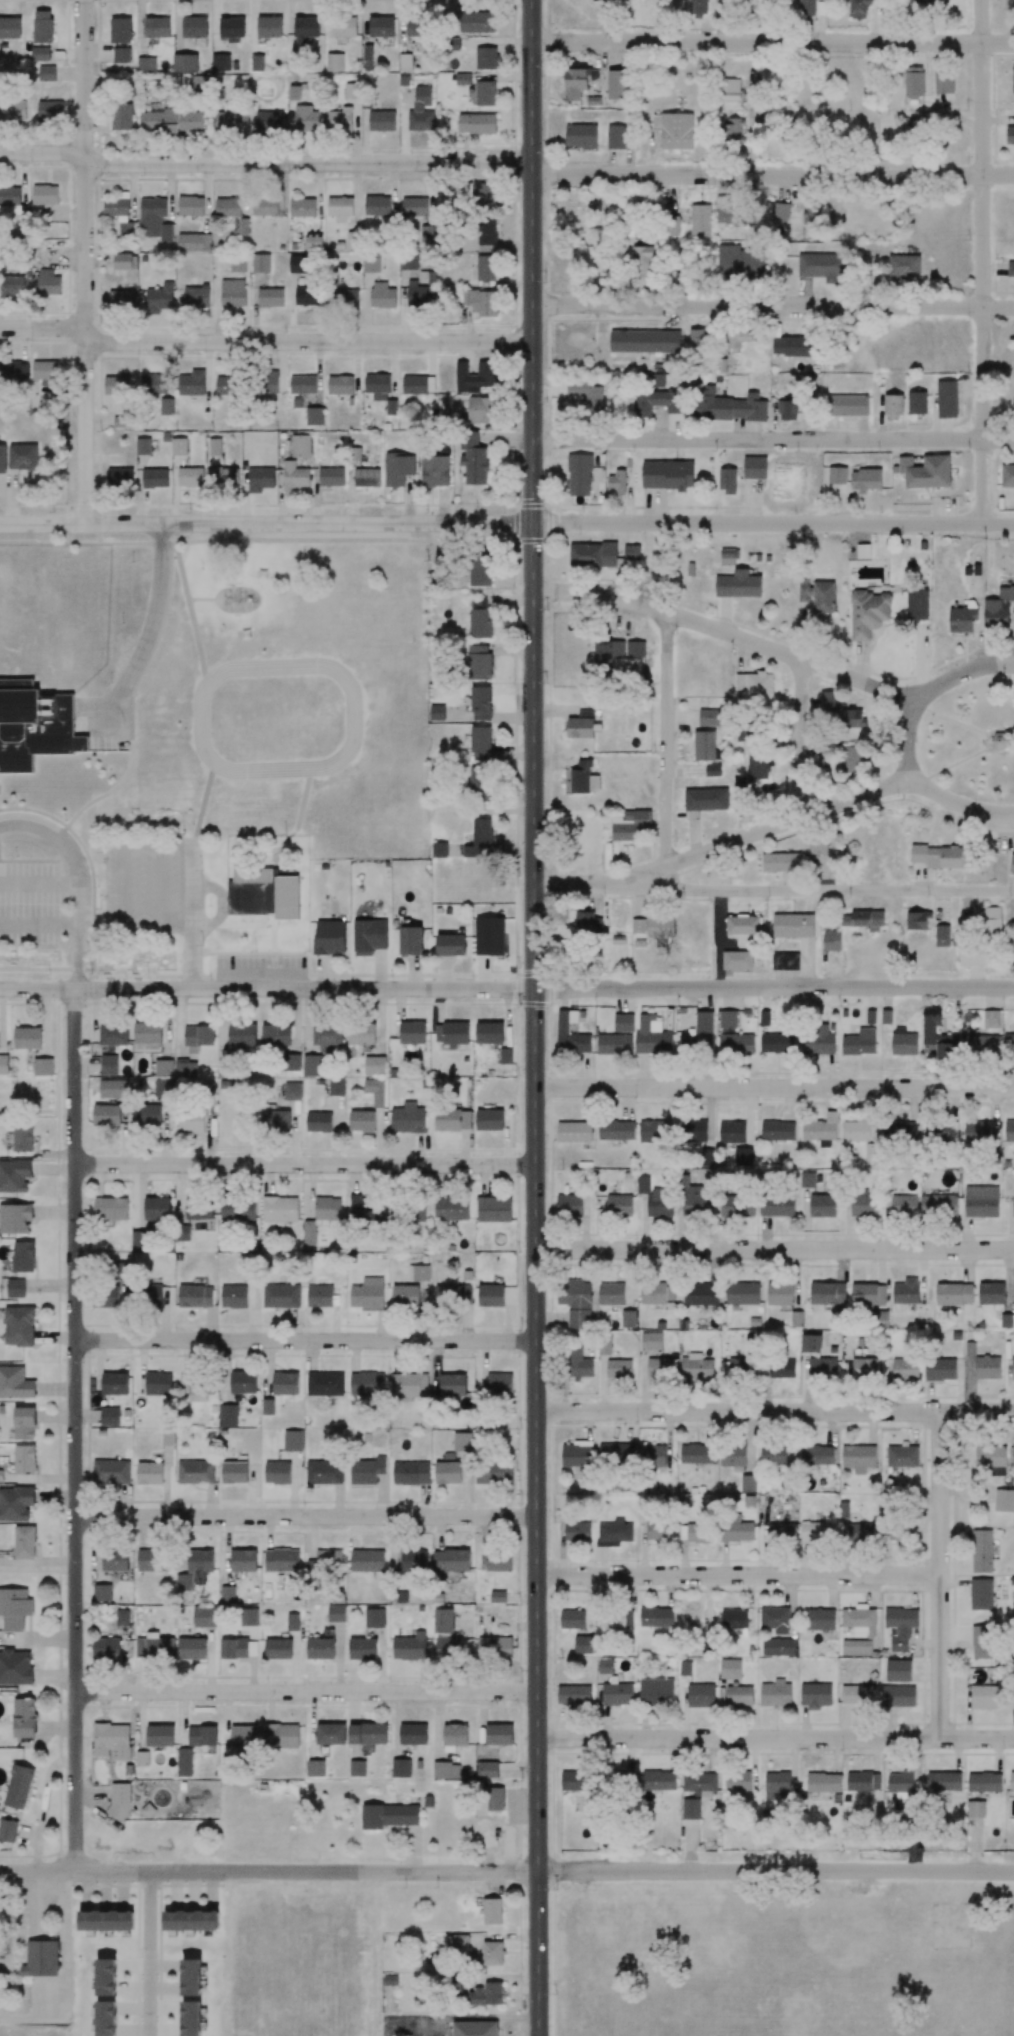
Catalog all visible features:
road: (772, 42)
building: (1013, 90)
building: (1010, 135)
building: (616, 139)
road: (508, 162)
building: (700, 220)
building: (670, 226)
road: (85, 261)
road: (983, 262)
building: (904, 266)
building: (1011, 269)
road: (773, 306)
road: (43, 328)
road: (309, 341)
building: (644, 341)
building: (947, 399)
building: (917, 403)
building: (847, 405)
building: (893, 407)
building: (121, 421)
road: (773, 439)
building: (142, 445)
building: (179, 445)
building: (215, 445)
building: (754, 468)
building: (926, 471)
building: (837, 475)
building: (1007, 475)
building: (226, 476)
building: (261, 477)
building: (866, 480)
road: (266, 523)
road: (772, 524)
building: (863, 551)
building: (804, 590)
building: (823, 597)
building: (917, 605)
building: (999, 608)
building: (869, 612)
building: (962, 619)
road: (150, 628)
road: (728, 633)
building: (754, 683)
road: (928, 692)
building: (829, 700)
building: (710, 717)
building: (853, 718)
road: (667, 739)
road: (801, 739)
park: (973, 740)
building: (704, 745)
building: (851, 758)
building: (760, 768)
building: (713, 770)
building: (706, 799)
road: (821, 810)
building: (818, 846)
building: (937, 856)
building: (781, 862)
building: (1012, 864)
road: (75, 878)
road: (38, 881)
road: (630, 887)
road: (870, 891)
road: (193, 918)
building: (864, 920)
building: (917, 920)
building: (992, 921)
road: (39, 923)
building: (793, 925)
building: (638, 926)
building: (660, 927)
building: (743, 928)
building: (942, 935)
building: (831, 941)
building: (975, 954)
building: (737, 959)
building: (789, 960)
road: (774, 988)
road: (267, 989)
building: (932, 1012)
road: (533, 1017)
building: (990, 1019)
building: (623, 1022)
building: (562, 1028)
building: (699, 1034)
building: (733, 1035)
building: (652, 1036)
building: (818, 1041)
building: (777, 1043)
building: (860, 1043)
building: (614, 1044)
building: (981, 1044)
building: (904, 1045)
building: (941, 1045)
building: (1009, 1045)
road: (773, 1087)
building: (860, 1129)
building: (616, 1130)
building: (693, 1130)
building: (821, 1130)
building: (651, 1131)
building: (732, 1131)
building: (778, 1131)
building: (1009, 1131)
building: (574, 1132)
building: (900, 1132)
building: (940, 1132)
building: (977, 1132)
building: (707, 1157)
road: (303, 1164)
building: (807, 1180)
building: (643, 1185)
building: (696, 1199)
building: (981, 1201)
building: (660, 1203)
building: (863, 1203)
building: (569, 1205)
building: (619, 1205)
building: (737, 1205)
building: (822, 1205)
building: (938, 1205)
building: (1013, 1205)
building: (777, 1206)
building: (904, 1206)
building: (156, 1207)
building: (200, 1207)
building: (238, 1207)
building: (493, 1209)
road: (774, 1248)
road: (751, 1264)
building: (906, 1291)
building: (657, 1293)
building: (742, 1293)
building: (827, 1293)
building: (991, 1293)
building: (613, 1294)
building: (700, 1294)
building: (780, 1294)
building: (954, 1294)
building: (453, 1295)
building: (491, 1295)
building: (867, 1295)
building: (572, 1301)
building: (628, 1318)
building: (797, 1319)
building: (878, 1319)
road: (303, 1339)
building: (651, 1341)
building: (811, 1343)
building: (604, 1345)
building: (577, 1364)
building: (696, 1366)
building: (659, 1367)
building: (740, 1367)
building: (987, 1367)
building: (619, 1368)
building: (782, 1368)
building: (822, 1368)
building: (865, 1368)
building: (905, 1369)
building: (940, 1369)
building: (1012, 1369)
building: (499, 1383)
building: (452, 1385)
building: (408, 1386)
road: (773, 1412)
road: (74, 1429)
building: (462, 1441)
building: (616, 1453)
building: (697, 1453)
building: (577, 1454)
building: (773, 1455)
building: (817, 1455)
building: (652, 1456)
building: (902, 1456)
building: (1013, 1456)
building: (733, 1457)
building: (858, 1458)
building: (991, 1459)
building: (367, 1470)
building: (447, 1470)
building: (409, 1473)
building: (493, 1473)
building: (748, 1483)
building: (1004, 1501)
building: (843, 1509)
road: (305, 1516)
building: (736, 1529)
building: (696, 1530)
building: (658, 1531)
building: (817, 1531)
building: (577, 1532)
building: (781, 1532)
building: (614, 1533)
building: (860, 1533)
building: (982, 1551)
building: (328, 1559)
building: (367, 1560)
building: (414, 1560)
building: (451, 1560)
building: (498, 1561)
road: (738, 1575)
road: (940, 1575)
building: (981, 1594)
building: (498, 1596)
building: (336, 1613)
building: (375, 1617)
building: (656, 1617)
building: (734, 1618)
building: (572, 1619)
building: (775, 1619)
building: (819, 1619)
building: (859, 1619)
building: (444, 1620)
building: (616, 1620)
building: (292, 1622)
building: (900, 1627)
building: (981, 1641)
building: (583, 1644)
building: (410, 1647)
building: (448, 1647)
building: (778, 1647)
building: (856, 1647)
building: (320, 1648)
building: (362, 1648)
building: (494, 1648)
building: (278, 1649)
building: (605, 1667)
building: (730, 1668)
building: (898, 1671)
road: (305, 1691)
building: (656, 1691)
building: (617, 1694)
building: (776, 1694)
building: (574, 1695)
building: (700, 1695)
building: (739, 1695)
building: (815, 1695)
building: (858, 1695)
building: (898, 1696)
building: (984, 1697)
building: (330, 1733)
building: (368, 1733)
building: (413, 1734)
building: (499, 1734)
building: (244, 1736)
building: (281, 1736)
building: (454, 1736)
road: (774, 1738)
building: (315, 1768)
building: (357, 1768)
building: (401, 1768)
building: (487, 1769)
building: (446, 1770)
building: (659, 1780)
building: (737, 1780)
building: (574, 1781)
building: (863, 1781)
building: (943, 1781)
building: (1011, 1781)
building: (699, 1782)
building: (900, 1782)
building: (984, 1782)
building: (823, 1783)
building: (776, 1786)
building: (495, 1798)
building: (691, 1809)
building: (975, 1809)
building: (388, 1816)
road: (507, 1871)
building: (492, 1911)
building: (191, 1920)
building: (457, 1940)
road: (148, 1953)
building: (492, 1953)
building: (191, 1977)
building: (486, 1994)
building: (106, 2018)
building: (191, 2018)
building: (475, 2028)

